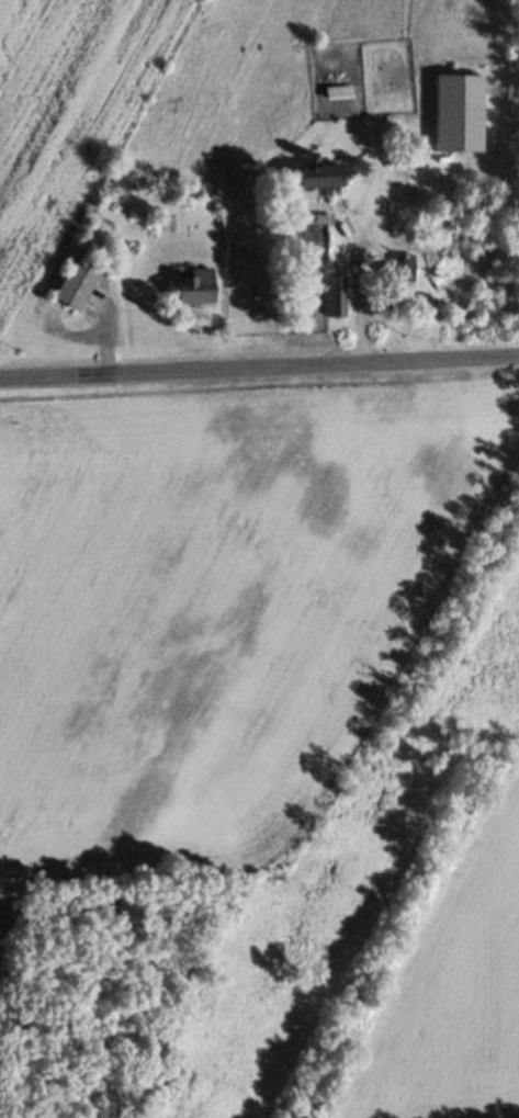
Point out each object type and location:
building: (339, 91)
building: (456, 111)
building: (319, 174)
building: (399, 266)
building: (76, 280)
building: (194, 284)
building: (335, 294)
road: (363, 308)
road: (259, 369)

